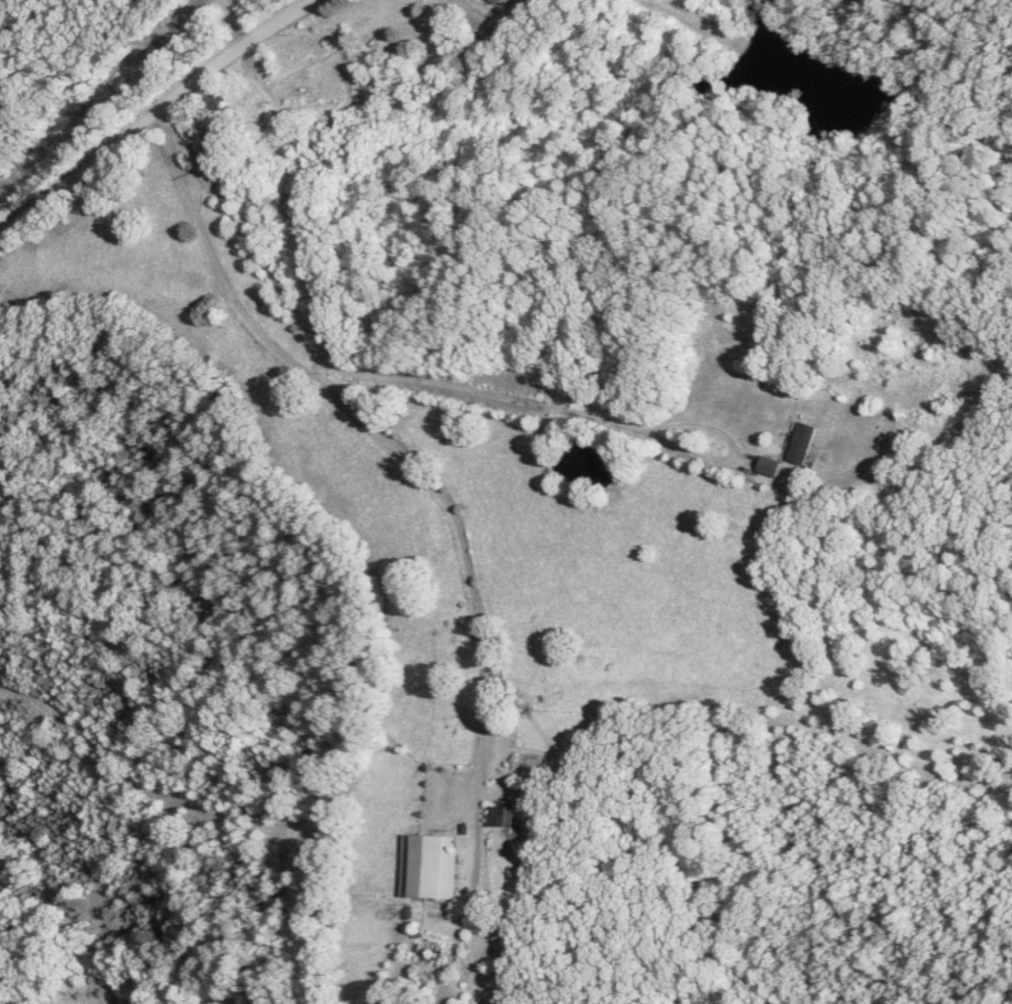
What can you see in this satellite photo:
building: (500, 1)
building: (219, 101)
road: (158, 113)
road: (454, 385)
building: (807, 444)
building: (775, 467)
road: (451, 508)
building: (506, 815)
building: (432, 868)

